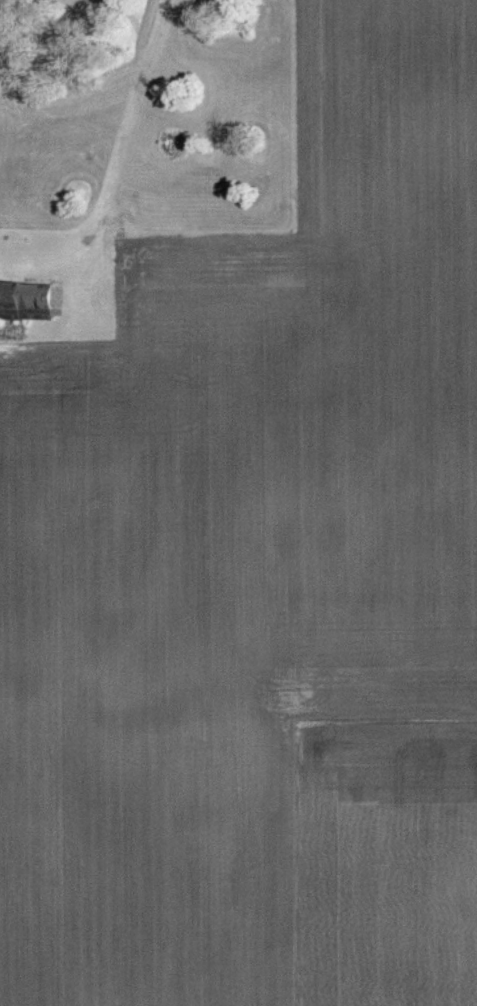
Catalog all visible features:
building: (24, 301)

